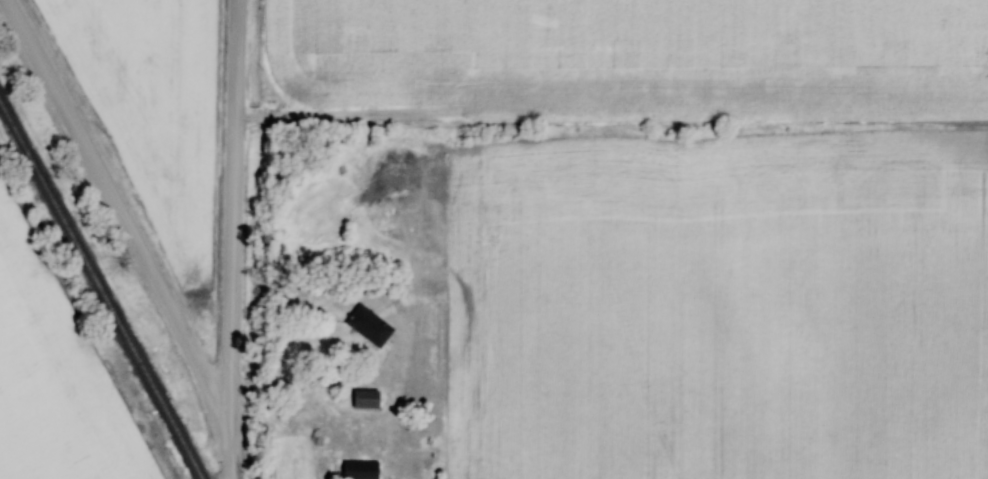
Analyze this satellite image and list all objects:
road: (115, 214)
road: (234, 214)
railway: (101, 290)
building: (368, 326)
road: (281, 379)
building: (365, 399)
road: (229, 454)
building: (359, 470)

